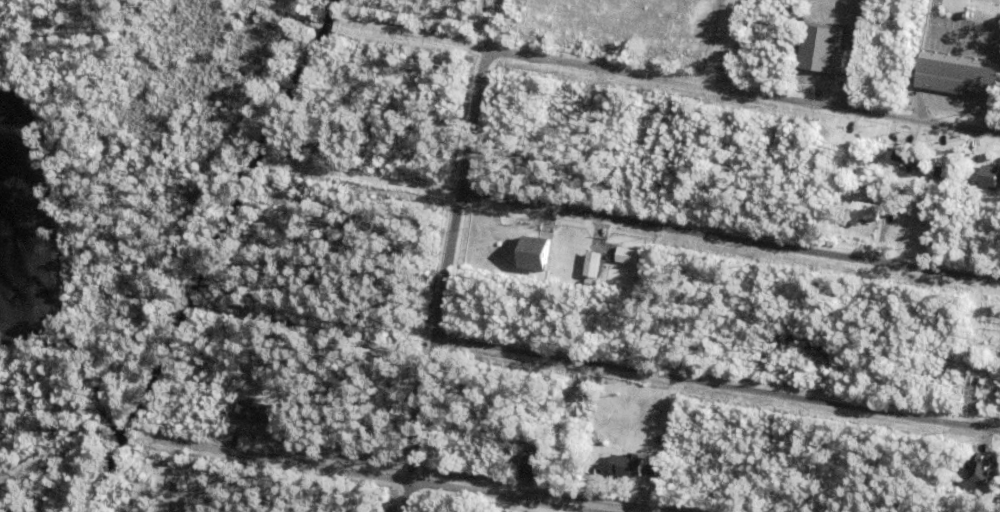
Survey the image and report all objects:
road: (269, 4)
building: (360, 4)
building: (863, 20)
building: (824, 52)
road: (668, 82)
building: (566, 101)
building: (599, 113)
building: (669, 113)
road: (189, 119)
building: (676, 122)
road: (472, 124)
building: (691, 126)
building: (651, 143)
building: (925, 143)
building: (972, 156)
building: (911, 162)
building: (934, 162)
building: (991, 178)
building: (906, 188)
building: (868, 214)
road: (636, 225)
building: (883, 236)
building: (517, 252)
building: (595, 253)
building: (622, 255)
building: (537, 257)
road: (448, 266)
building: (993, 325)
road: (601, 362)
building: (983, 382)
building: (968, 402)
building: (984, 403)
building: (258, 415)
road: (422, 423)
building: (977, 468)
building: (534, 469)
building: (628, 470)
road: (387, 477)
road: (48, 487)
road: (5, 496)
road: (3, 509)

